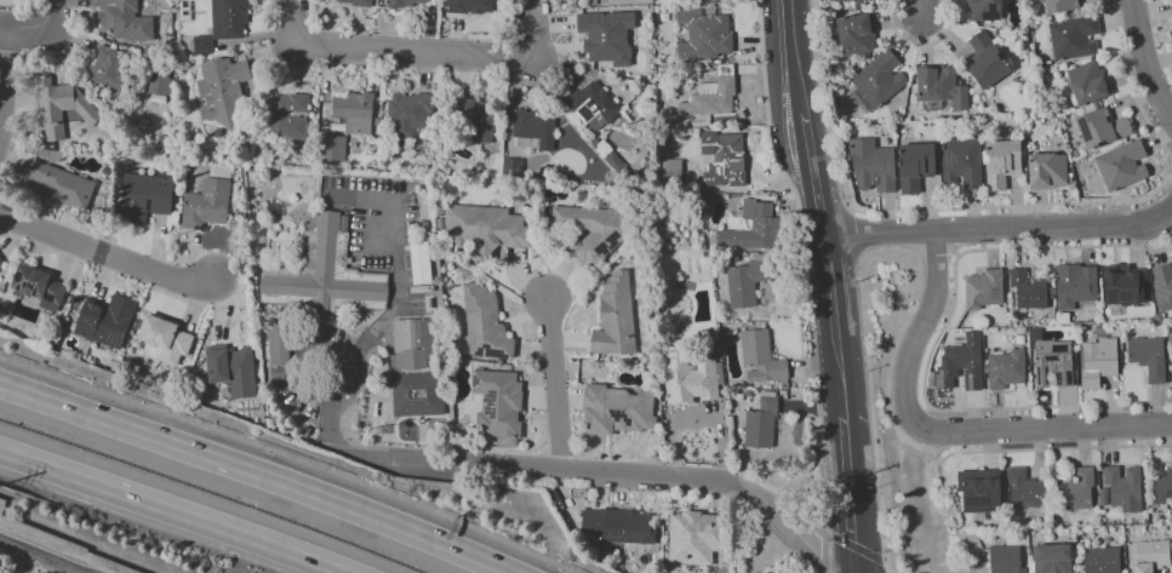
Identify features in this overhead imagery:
building: (846, 0)
building: (353, 1)
building: (406, 4)
building: (1171, 4)
building: (469, 6)
building: (1060, 6)
road: (921, 8)
building: (985, 10)
building: (228, 18)
building: (122, 19)
road: (40, 29)
road: (2, 30)
road: (533, 30)
building: (854, 33)
building: (703, 34)
road: (1161, 34)
road: (791, 36)
building: (1074, 38)
road: (921, 42)
building: (202, 44)
road: (393, 51)
road: (1147, 59)
building: (987, 61)
building: (1063, 65)
building: (108, 67)
building: (877, 81)
building: (1088, 82)
road: (1132, 82)
building: (159, 86)
building: (941, 87)
building: (221, 90)
road: (4, 92)
road: (800, 92)
building: (711, 94)
building: (593, 104)
building: (62, 107)
building: (354, 111)
building: (407, 114)
building: (286, 115)
building: (473, 120)
building: (534, 127)
building: (1103, 127)
road: (777, 136)
building: (332, 148)
road: (811, 149)
building: (721, 153)
rooftop solar panel: (949, 156)
building: (962, 162)
building: (1002, 162)
building: (874, 165)
building: (916, 166)
building: (1122, 166)
building: (510, 167)
building: (670, 168)
building: (1047, 171)
building: (59, 184)
building: (141, 196)
building: (205, 204)
road: (911, 210)
road: (822, 211)
road: (850, 211)
building: (753, 227)
road: (1001, 228)
building: (484, 229)
building: (591, 230)
road: (852, 234)
rooftop solar panel: (612, 236)
rooftop solar panel: (602, 250)
road: (938, 252)
road: (107, 253)
road: (802, 258)
road: (858, 258)
building: (1, 264)
building: (321, 271)
rooftop solar panel: (18, 275)
building: (744, 282)
rooftop solar panel: (33, 285)
building: (1075, 285)
building: (1126, 285)
building: (39, 286)
building: (1164, 286)
rooftop solar panel: (19, 287)
road: (830, 287)
building: (984, 290)
building: (1029, 290)
rooftop solar panel: (1121, 294)
rooftop solar panel: (1109, 296)
road: (917, 298)
rooftop solar panel: (48, 299)
rooftop solar panel: (131, 304)
building: (613, 316)
building: (105, 321)
building: (484, 323)
building: (1115, 328)
road: (376, 331)
rooftop solar panel: (114, 337)
building: (164, 338)
building: (278, 342)
road: (938, 342)
rooftop solar panel: (491, 349)
building: (759, 357)
building: (1148, 357)
building: (1171, 359)
building: (1054, 362)
building: (1099, 362)
building: (962, 363)
building: (416, 367)
building: (231, 368)
building: (1006, 369)
building: (691, 378)
road: (840, 378)
rooftop solar panel: (475, 379)
road: (556, 384)
road: (348, 385)
rooftop solar panel: (492, 402)
building: (497, 405)
building: (616, 409)
building: (760, 424)
road: (941, 431)
road: (601, 471)
road: (250, 476)
building: (1162, 486)
building: (1124, 487)
building: (1025, 488)
building: (981, 489)
building: (1076, 491)
rooftop solar panel: (1171, 493)
road: (852, 494)
building: (1104, 497)
rooftop solar panel: (972, 500)
road: (823, 508)
road: (162, 512)
road: (954, 517)
building: (968, 521)
building: (616, 525)
building: (1071, 529)
rooftop solar panel: (633, 534)
building: (694, 537)
building: (1079, 538)
rooftop solar panel: (614, 542)
road: (823, 543)
road: (856, 548)
building: (1153, 555)
railway: (38, 557)
building: (1052, 558)
building: (1006, 560)
building: (1100, 560)
road: (25, 562)
road: (888, 571)

